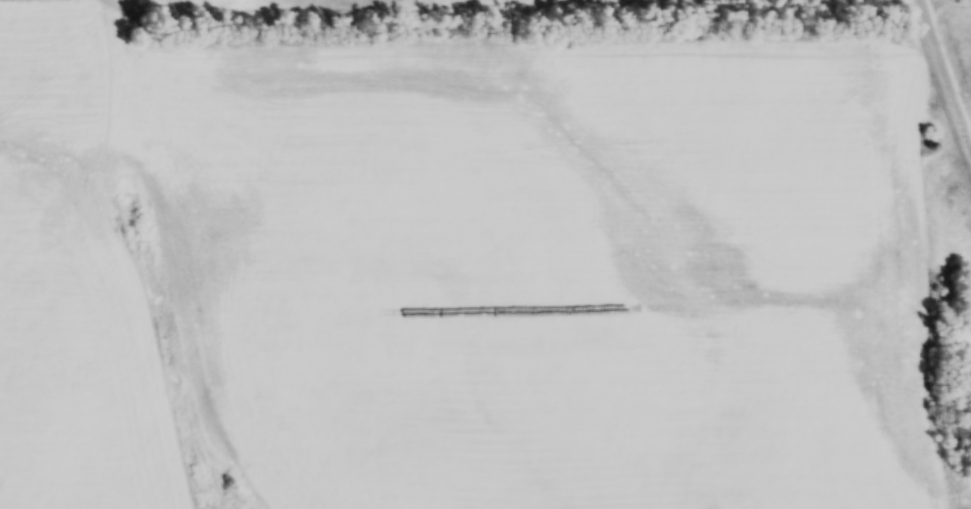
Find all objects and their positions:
road: (946, 72)

